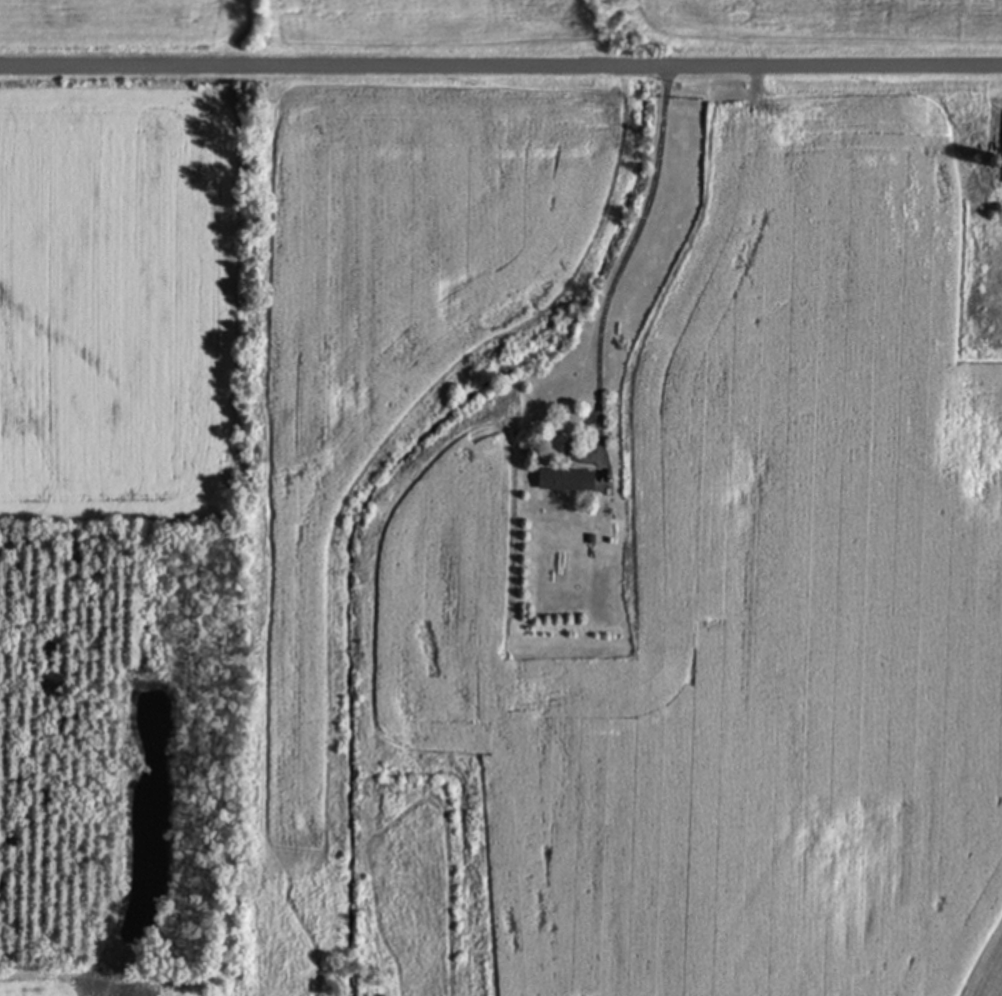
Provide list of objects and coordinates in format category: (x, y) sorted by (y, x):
road: (501, 69)
road: (624, 259)
building: (565, 484)

